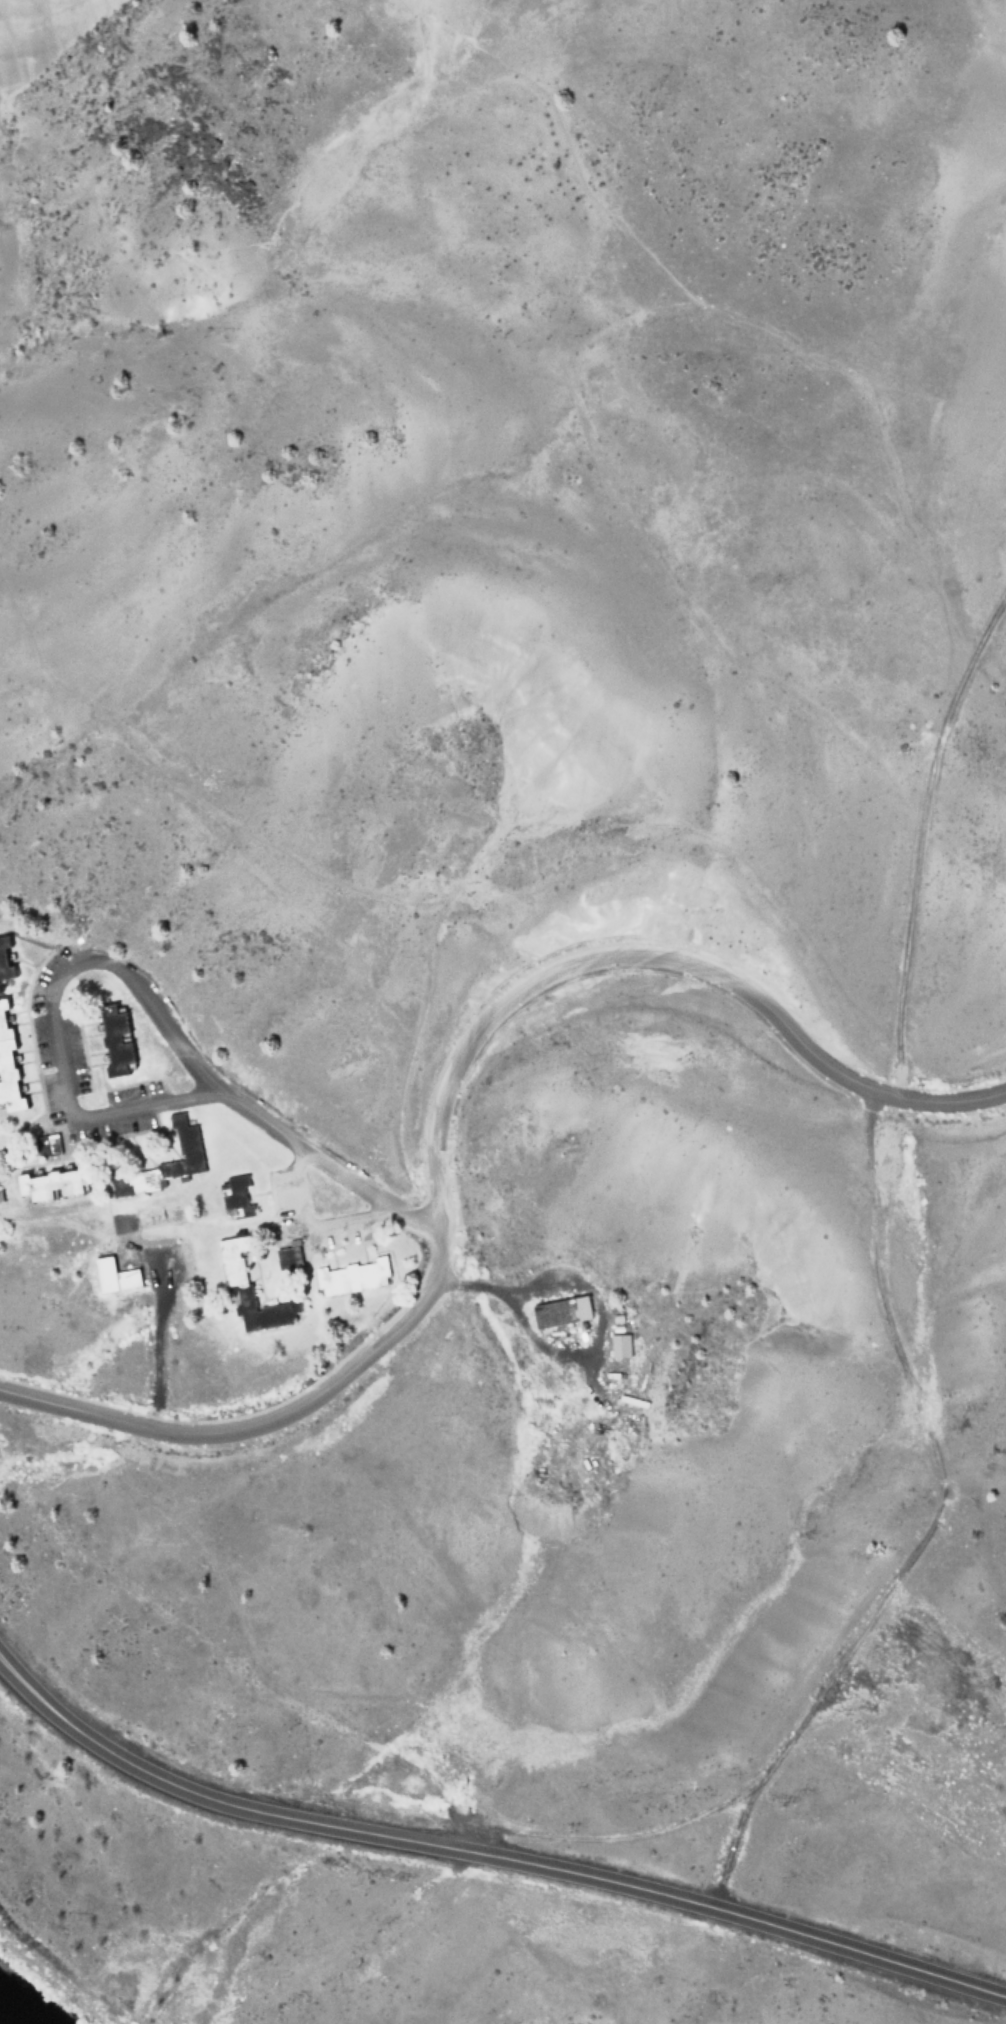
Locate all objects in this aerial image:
road: (414, 9)
road: (737, 319)
road: (922, 838)
building: (5, 961)
road: (148, 997)
building: (117, 1043)
building: (8, 1067)
road: (443, 1100)
building: (188, 1144)
building: (48, 1146)
building: (57, 1185)
building: (1, 1197)
building: (236, 1198)
building: (288, 1256)
building: (236, 1271)
building: (118, 1277)
building: (354, 1278)
building: (562, 1312)
building: (620, 1346)
road: (488, 1854)
river: (12, 2014)

